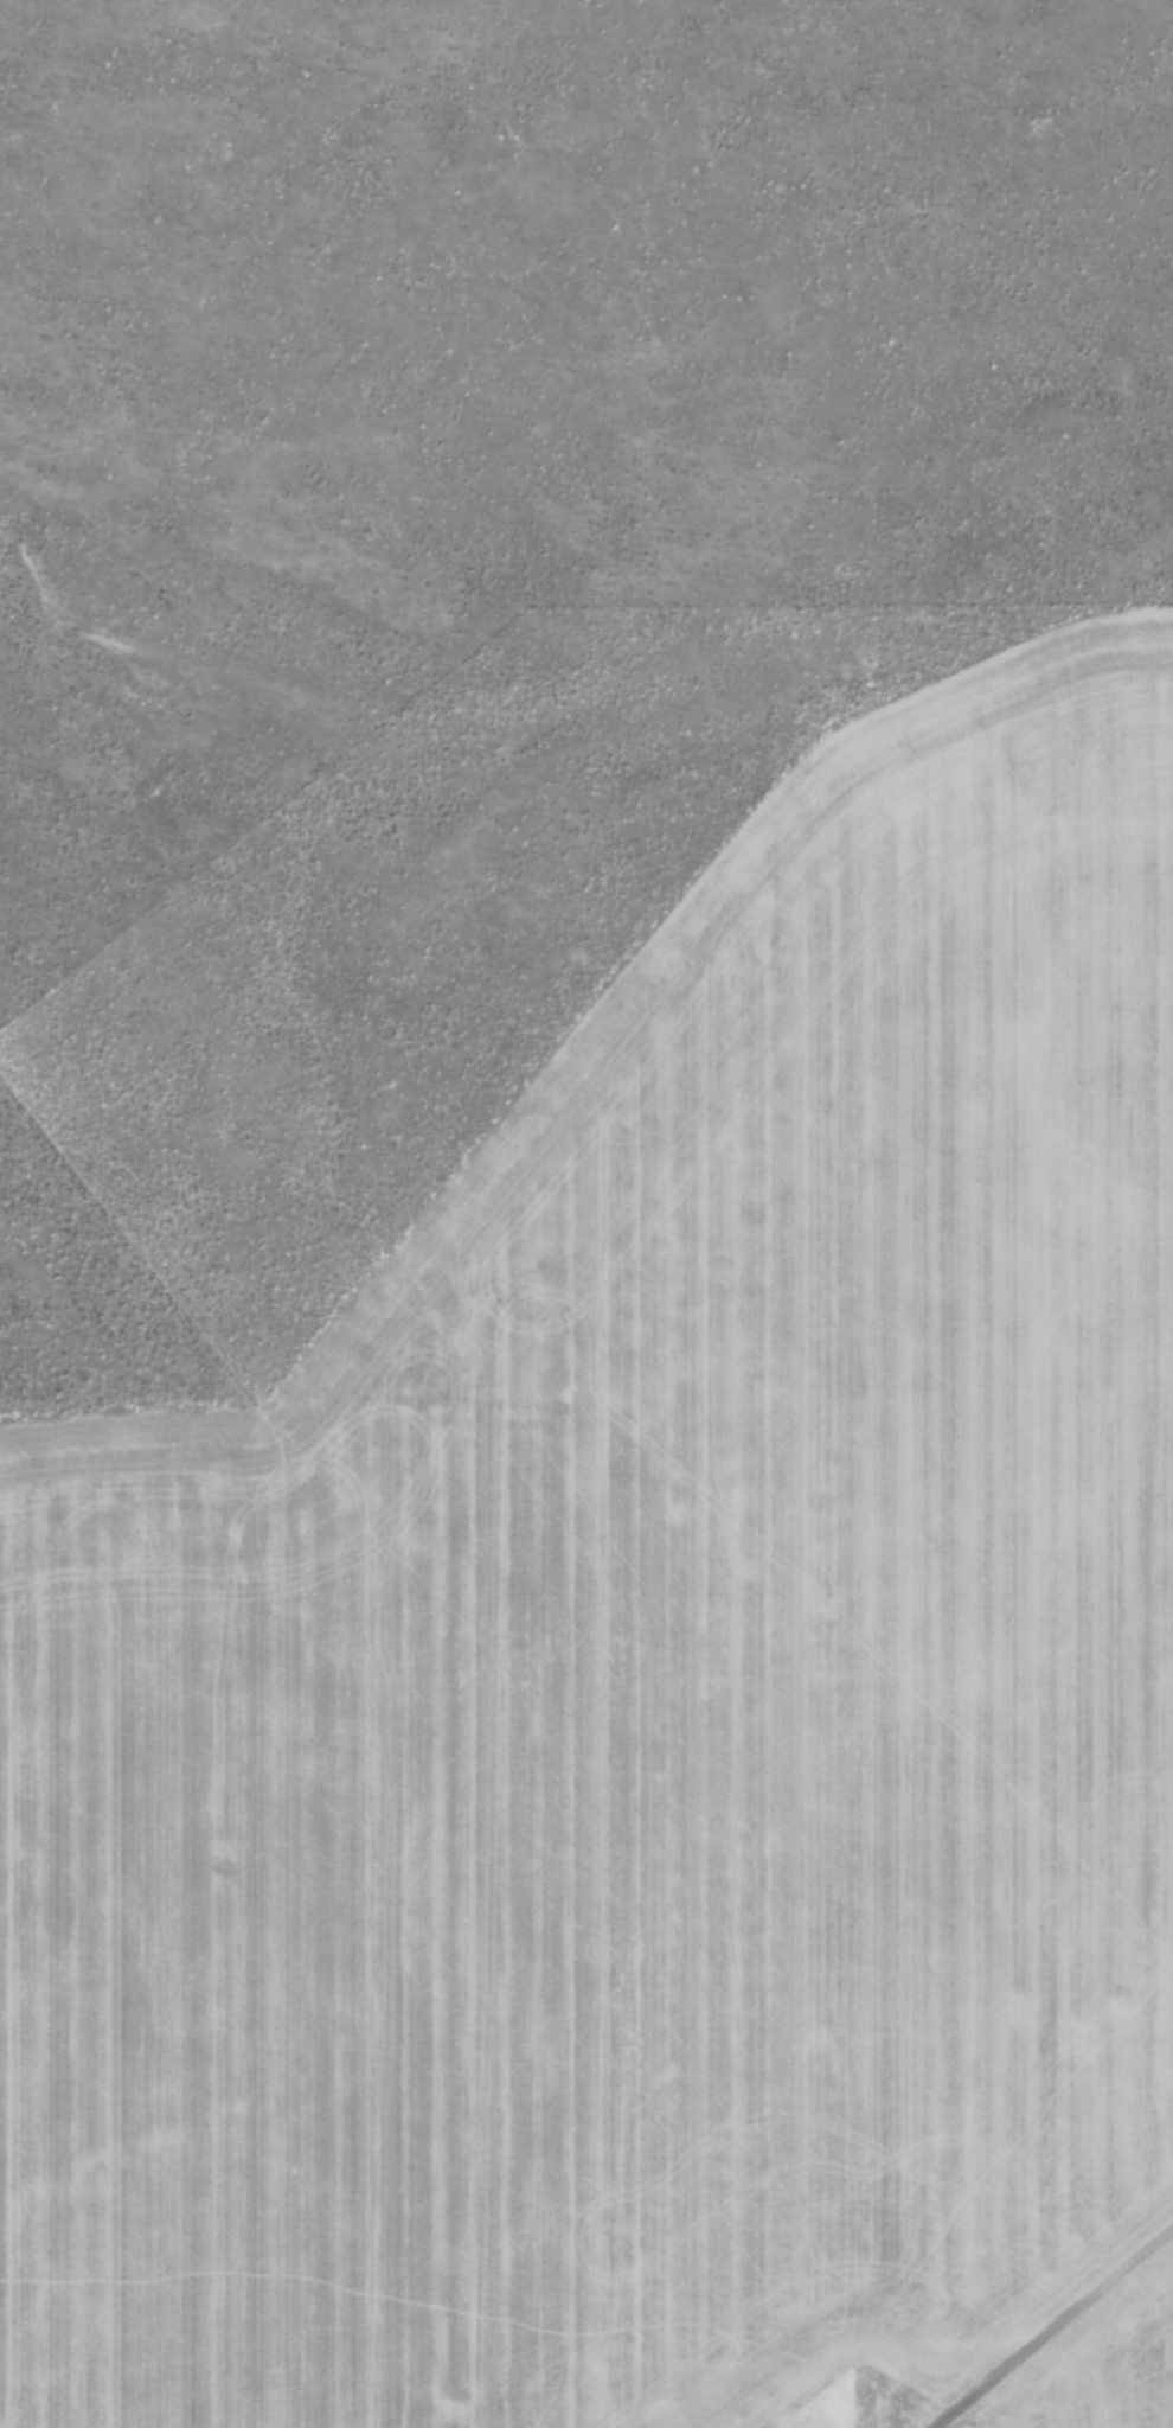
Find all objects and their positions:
road: (1055, 2330)

